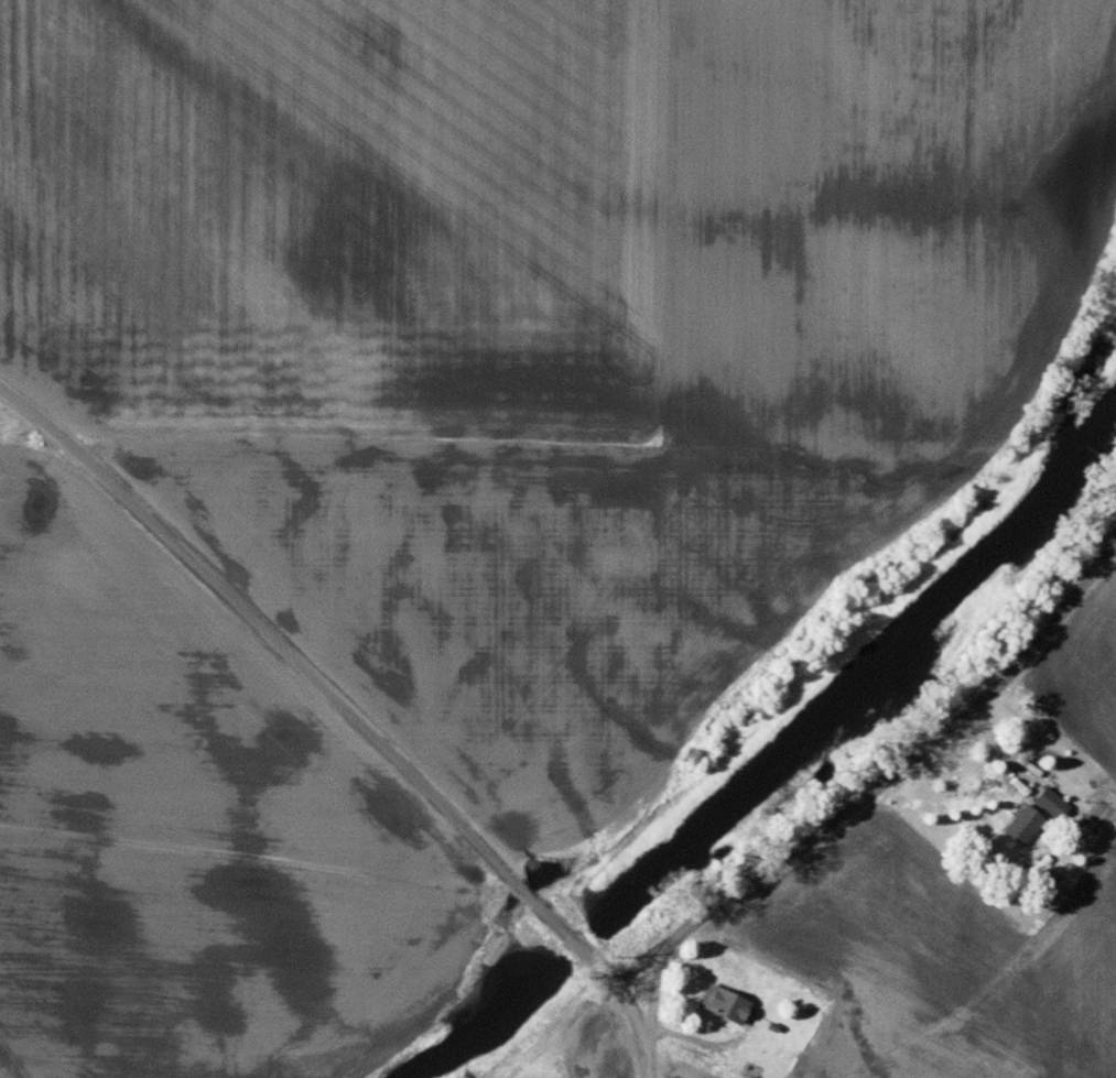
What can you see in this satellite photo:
road: (291, 658)
road: (882, 788)
building: (1050, 804)
building: (1020, 827)
road: (583, 950)
building: (722, 1006)
road: (635, 1012)

